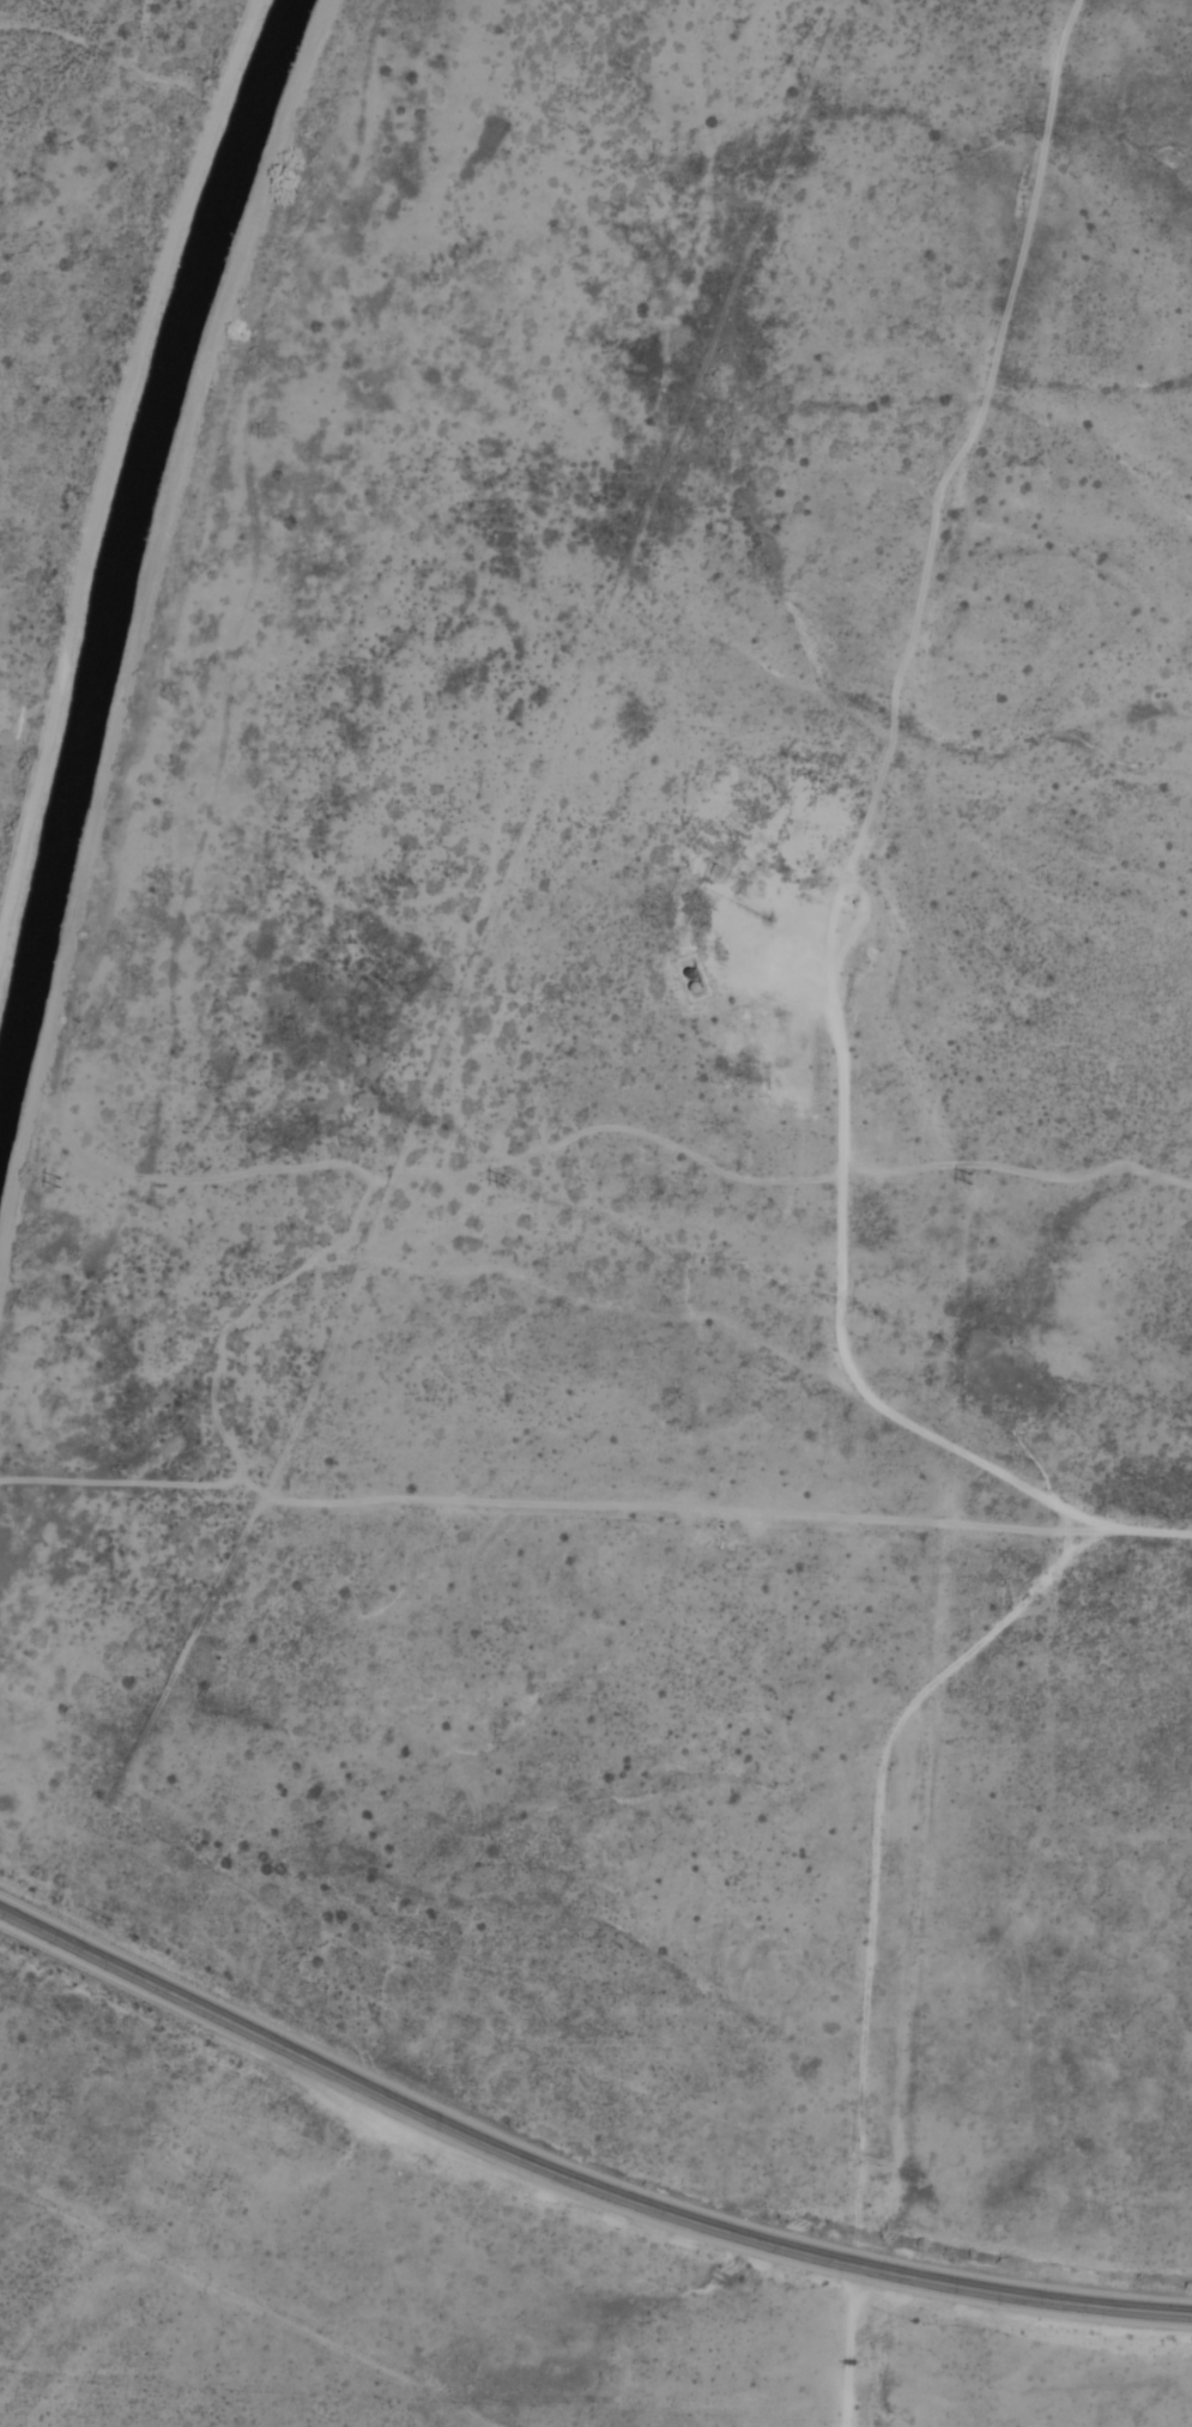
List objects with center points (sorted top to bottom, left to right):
road: (964, 426)
road: (840, 1266)
road: (1070, 1526)
road: (889, 1742)
road: (574, 2179)
road: (847, 2344)

